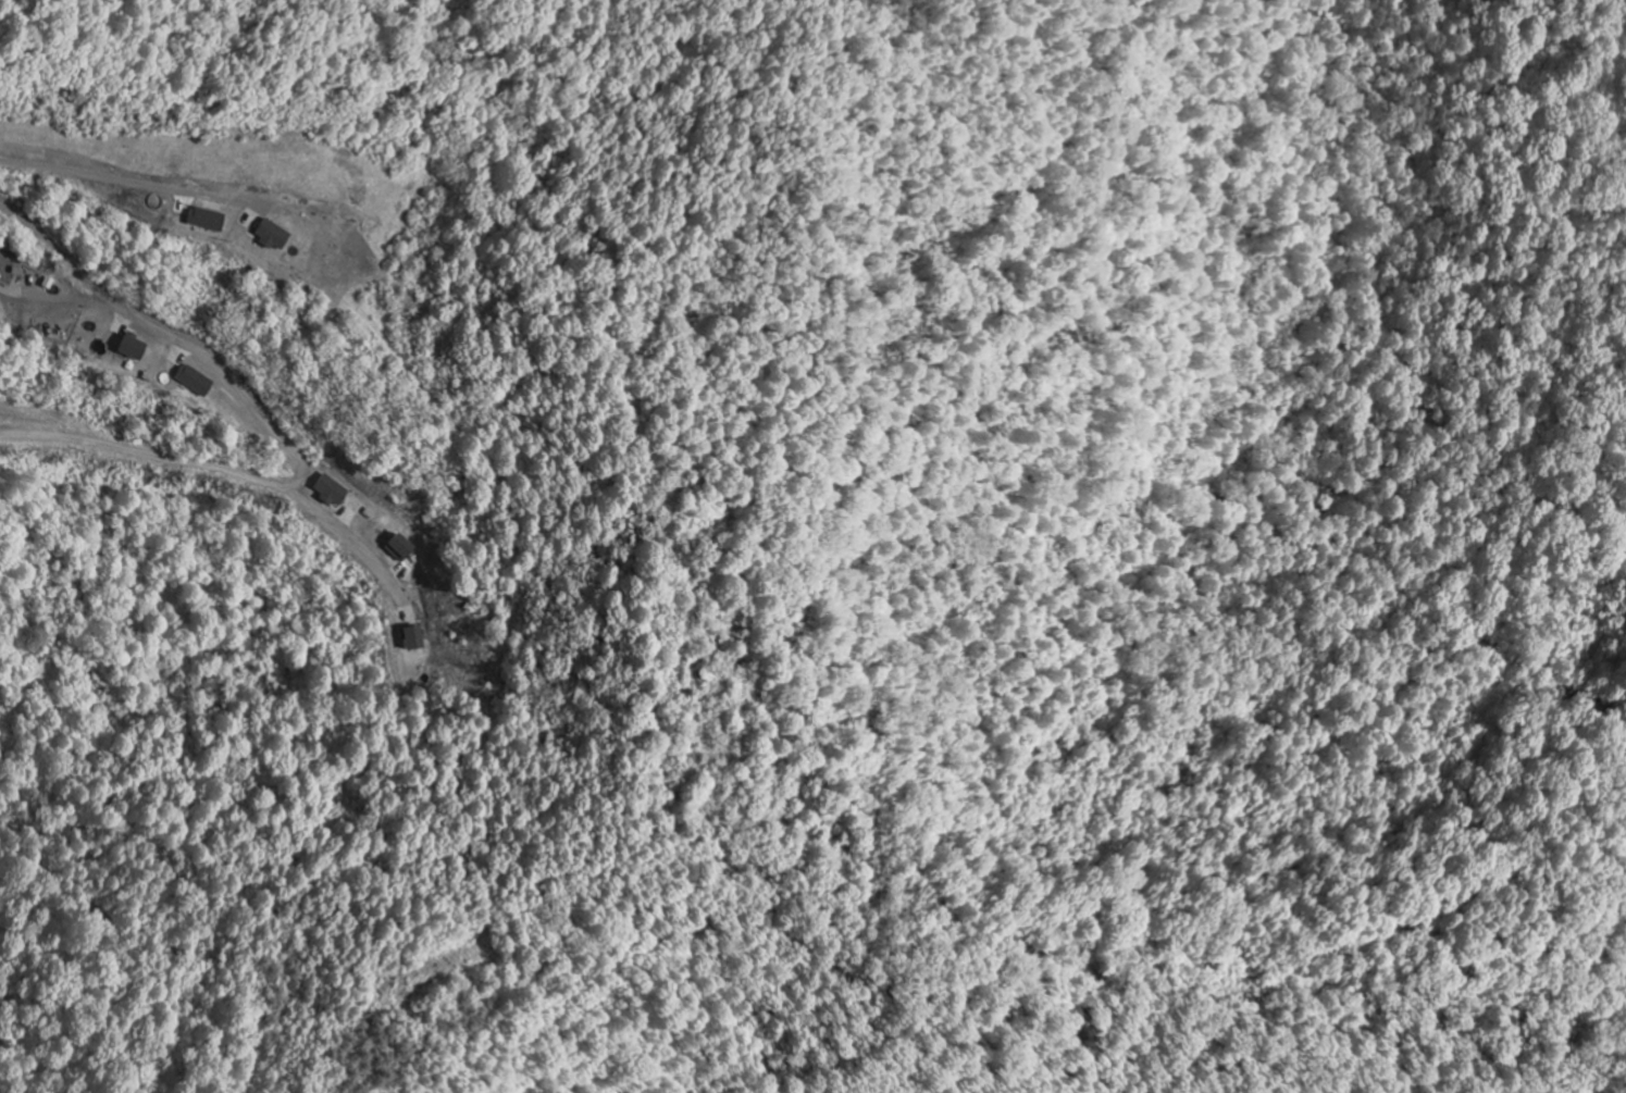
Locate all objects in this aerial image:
building: (206, 220)
building: (273, 236)
building: (132, 348)
building: (194, 381)
building: (332, 492)
building: (400, 549)
building: (413, 638)

